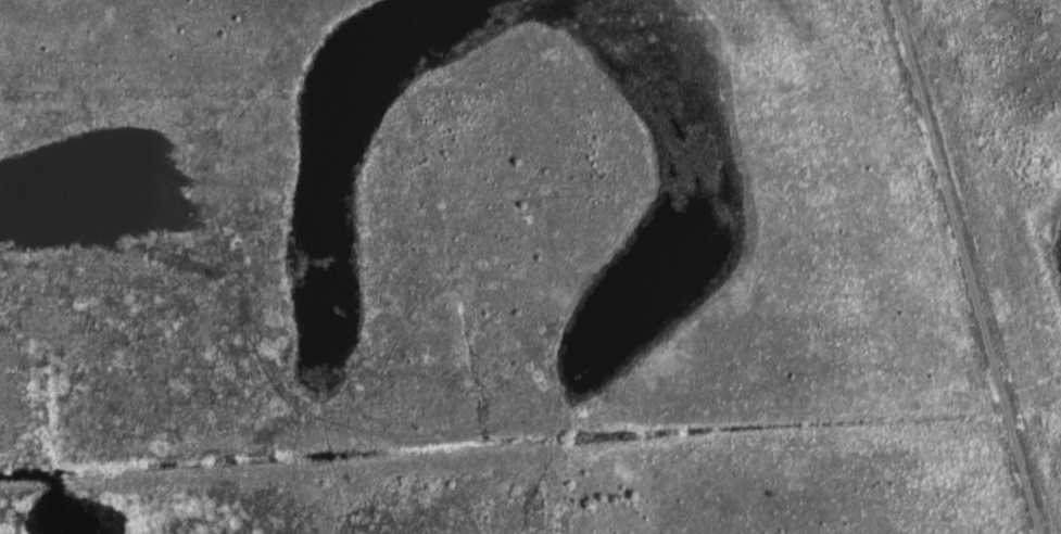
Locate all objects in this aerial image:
road: (965, 267)

